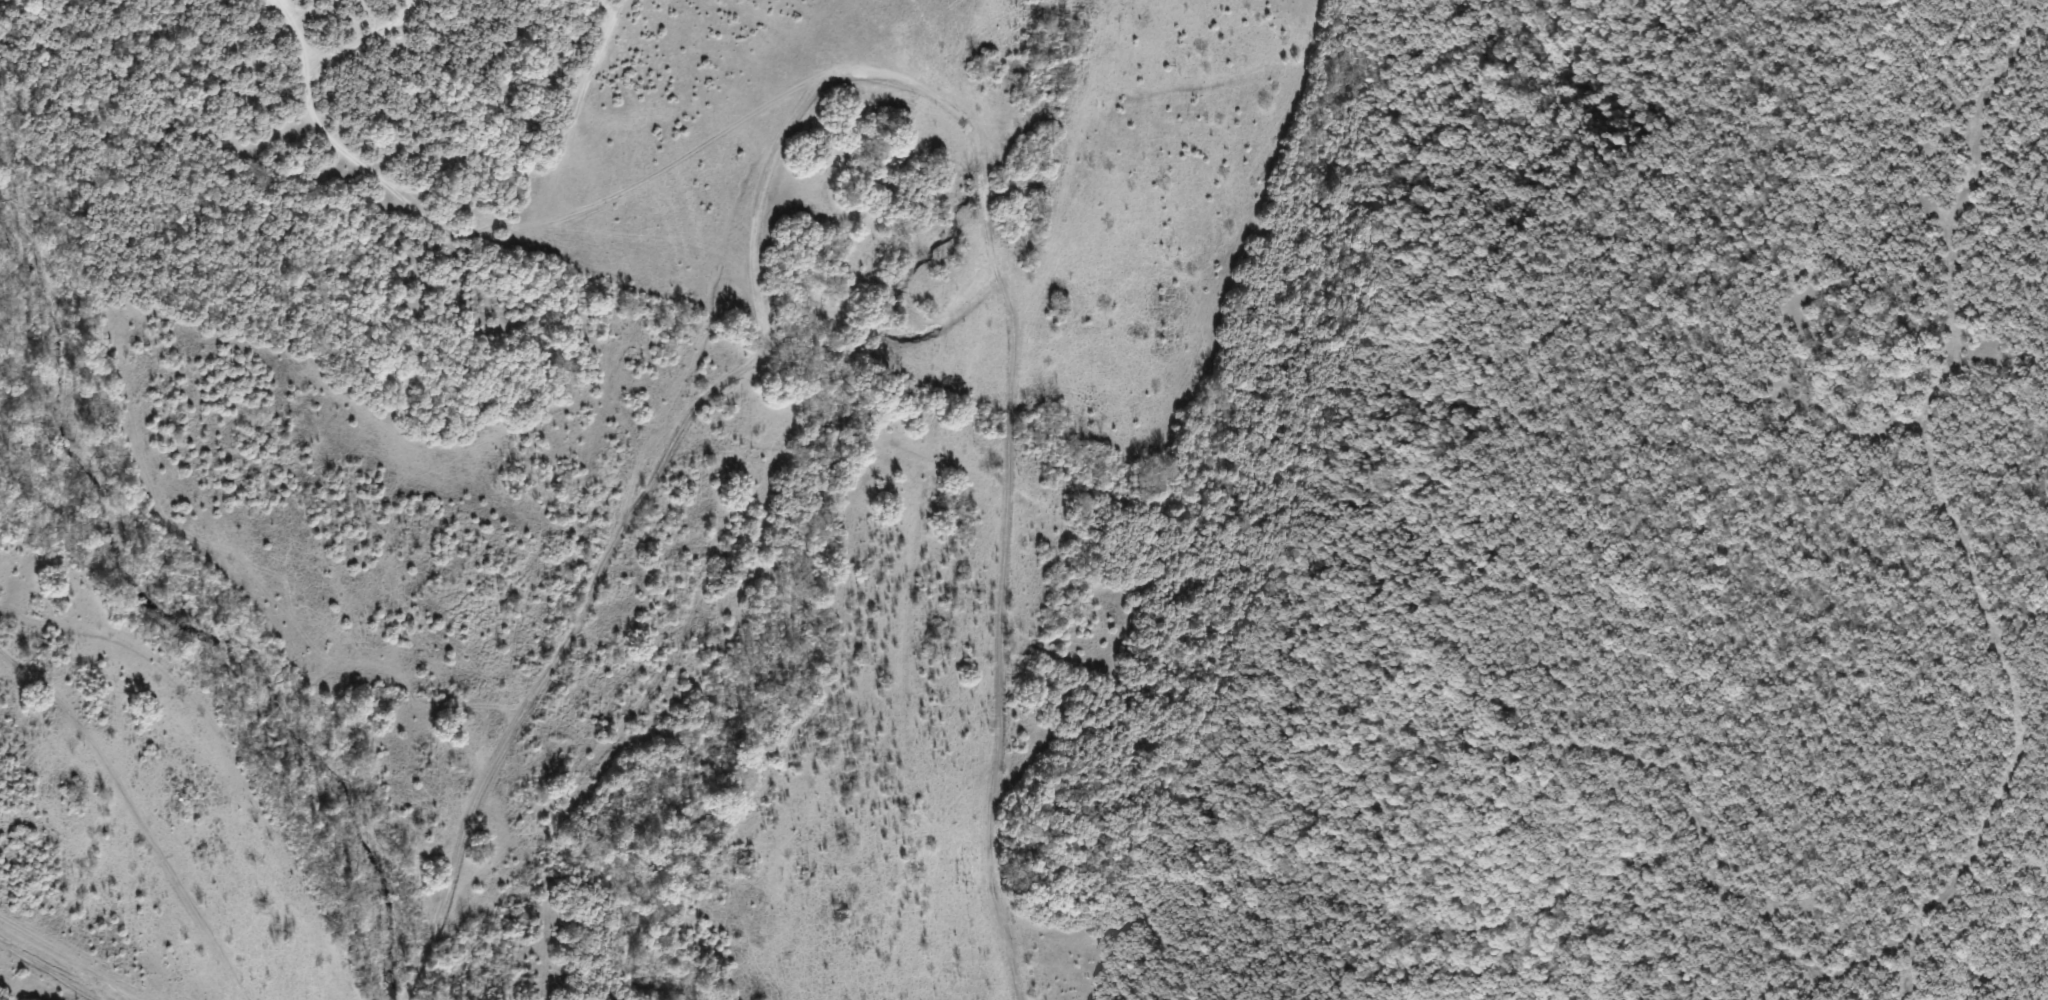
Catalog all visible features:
road: (953, 117)
road: (1959, 499)

